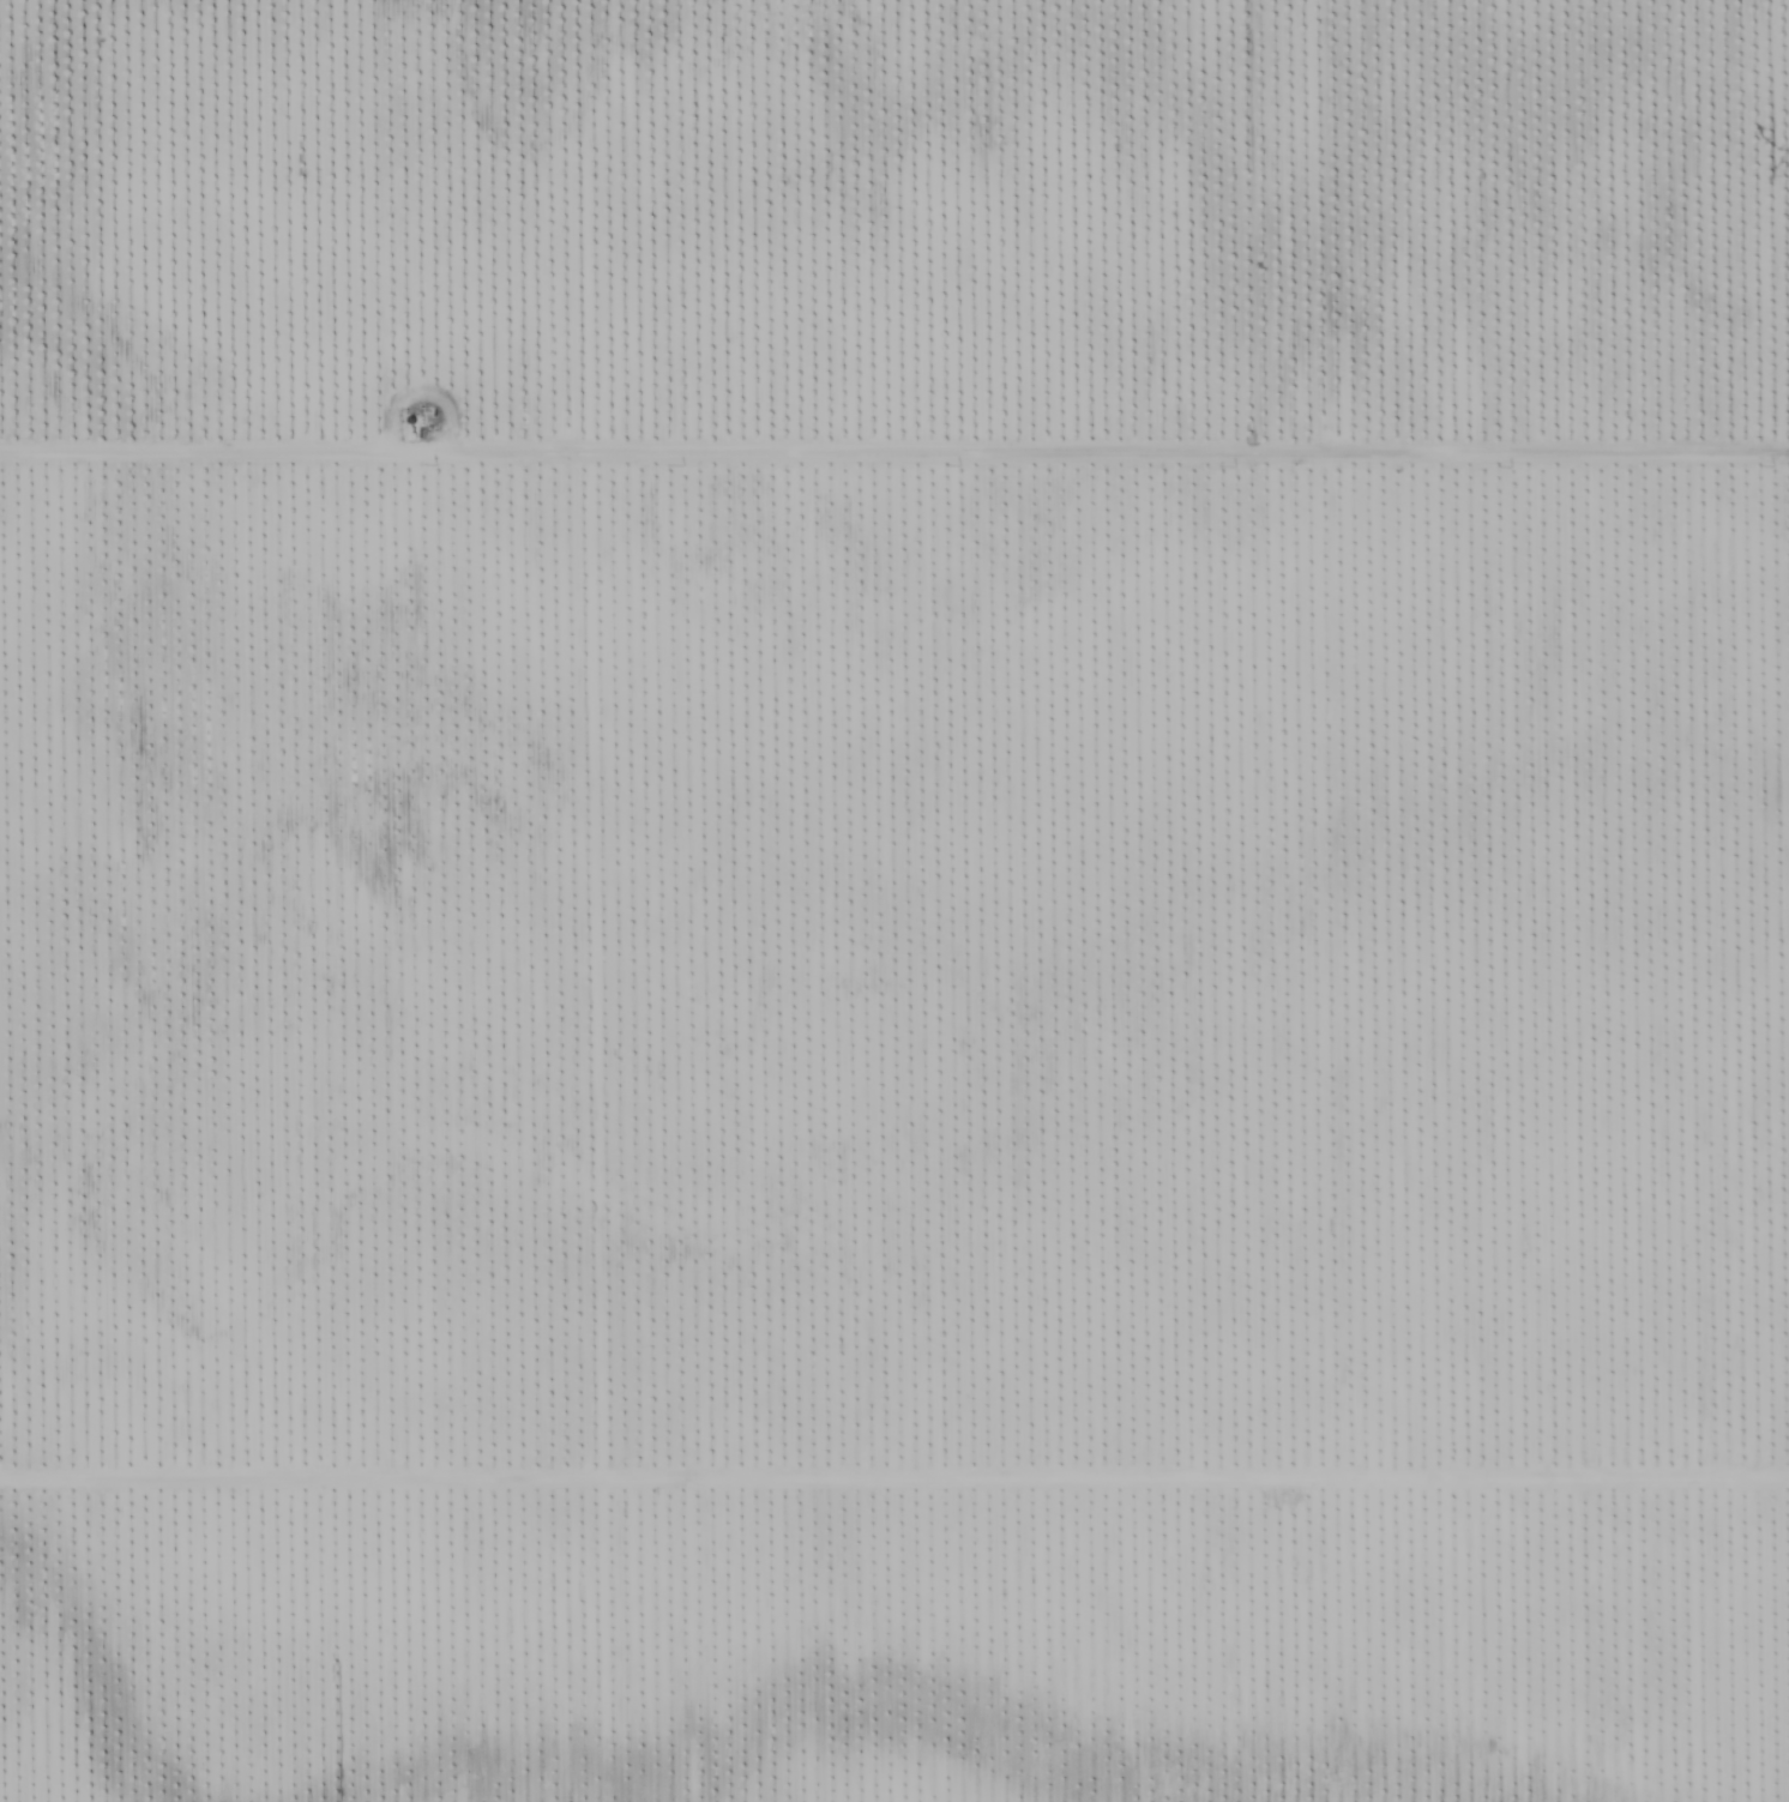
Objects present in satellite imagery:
crop: (873, 727)

